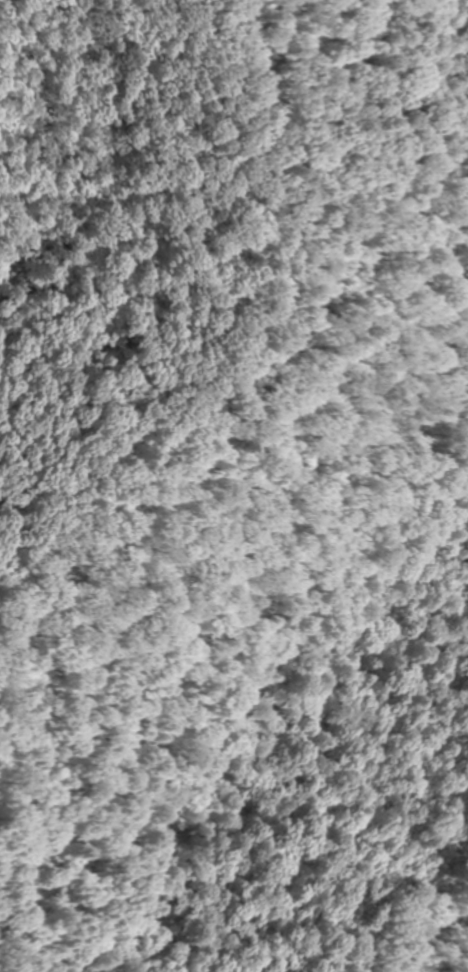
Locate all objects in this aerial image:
road: (167, 347)

